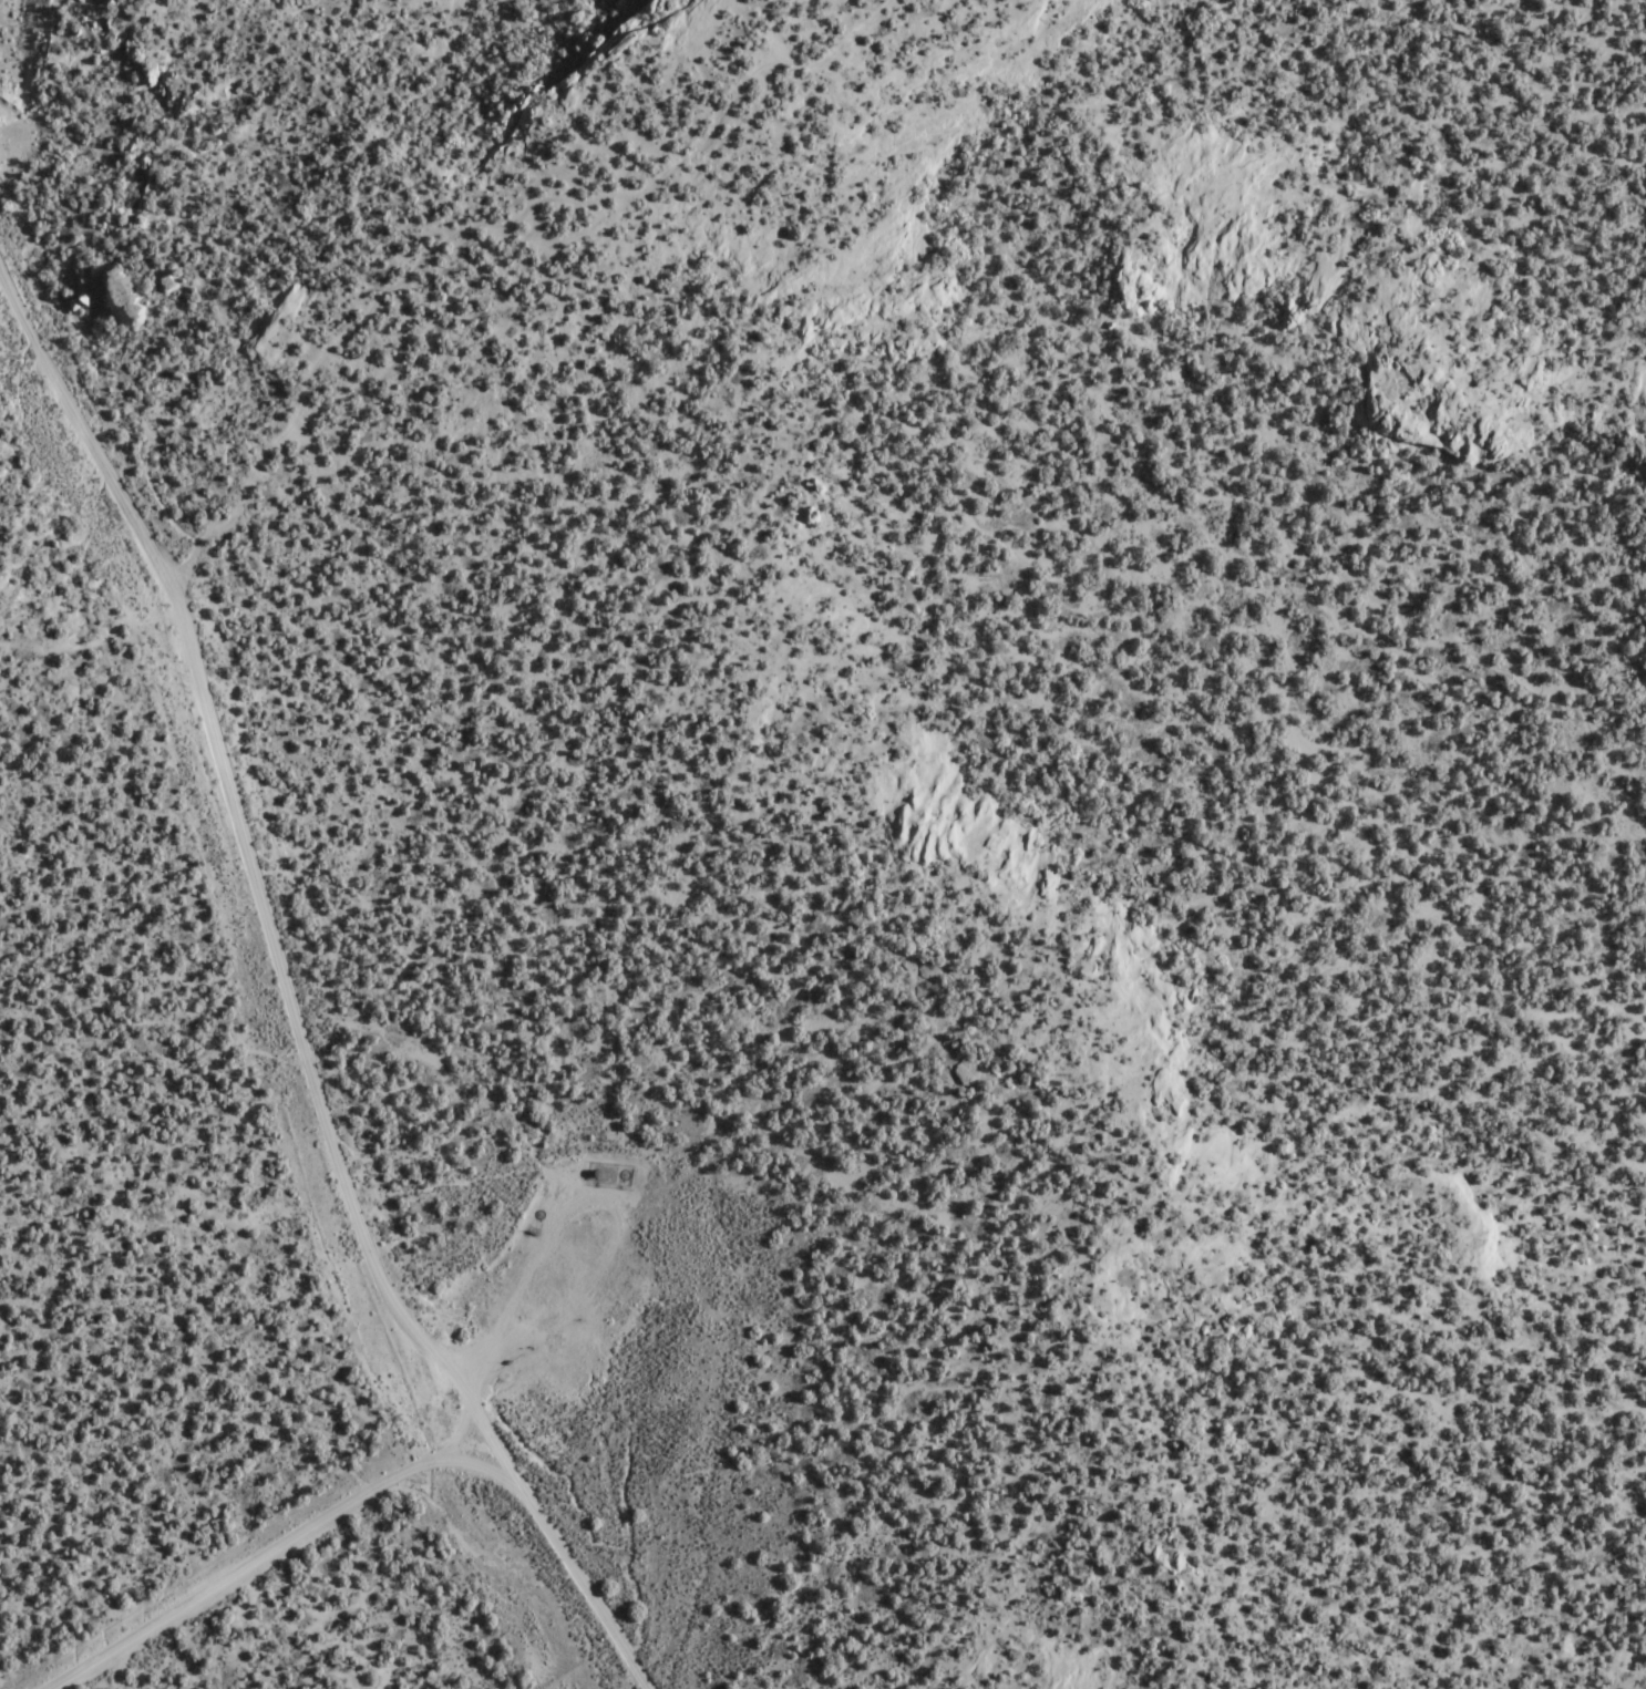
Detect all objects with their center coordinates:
road: (260, 1047)
road: (243, 1572)

